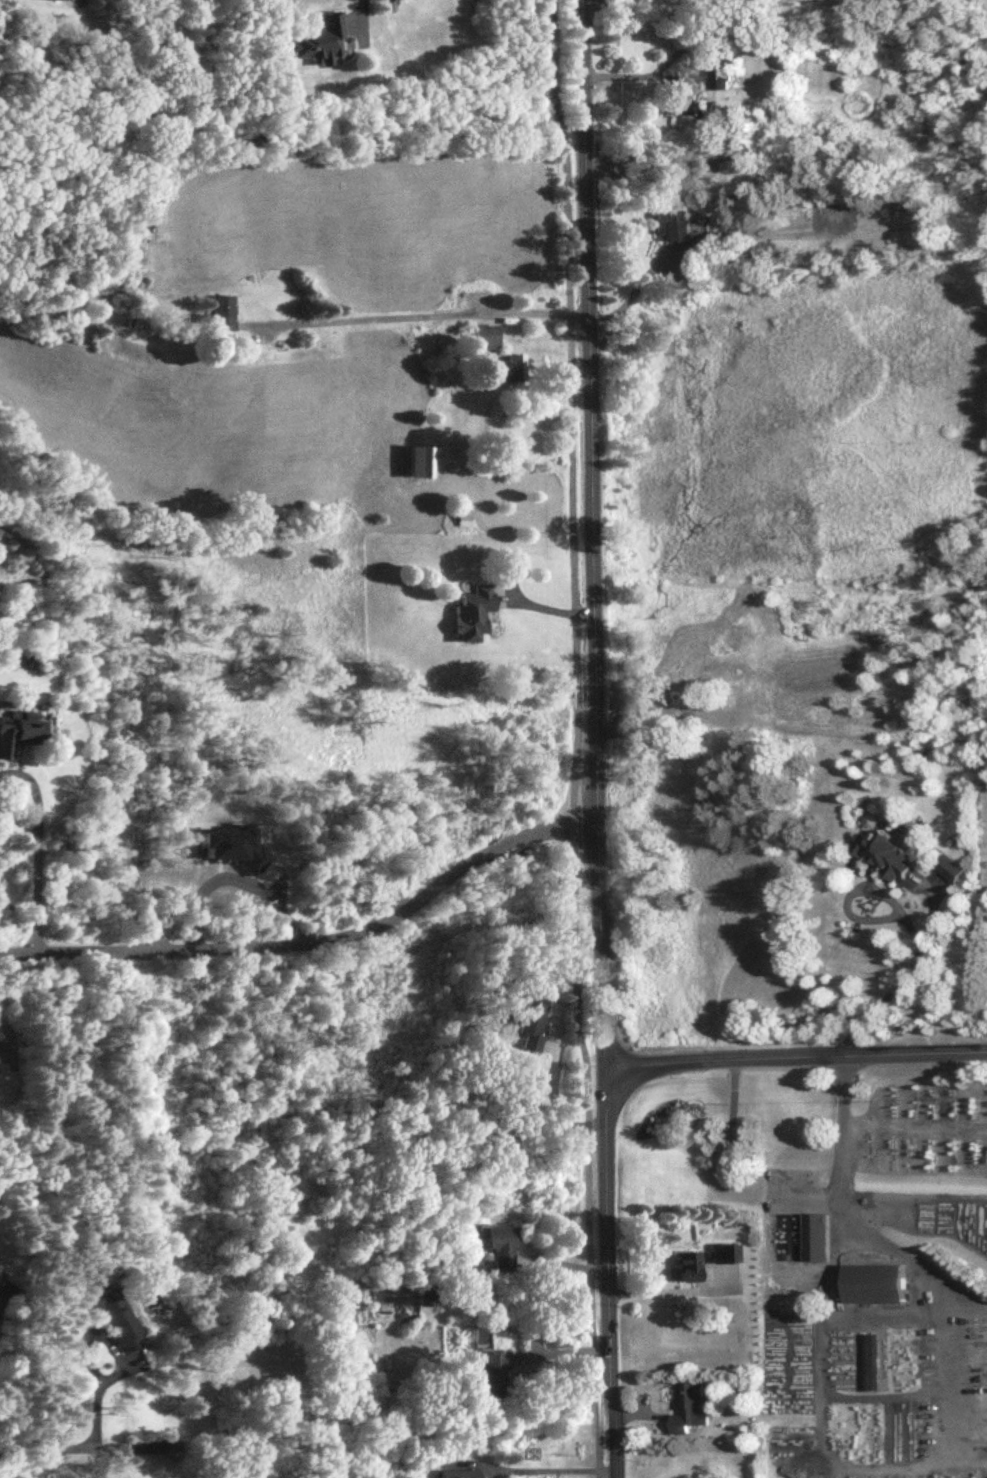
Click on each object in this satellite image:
building: (55, 0)
road: (359, 2)
building: (317, 39)
road: (685, 75)
building: (685, 101)
building: (835, 211)
building: (673, 226)
road: (628, 292)
road: (416, 313)
building: (222, 314)
road: (570, 334)
building: (486, 336)
building: (507, 368)
building: (421, 463)
building: (464, 515)
building: (473, 612)
road: (575, 689)
building: (753, 705)
building: (17, 731)
road: (597, 738)
road: (35, 791)
road: (19, 825)
building: (884, 853)
road: (264, 893)
road: (37, 895)
road: (907, 924)
road: (314, 942)
building: (531, 1024)
road: (796, 1058)
road: (587, 1092)
road: (852, 1216)
building: (500, 1245)
building: (725, 1253)
building: (689, 1267)
building: (1, 1269)
building: (873, 1282)
building: (429, 1297)
building: (115, 1316)
building: (497, 1375)
road: (819, 1390)
road: (950, 1396)
building: (689, 1403)
road: (95, 1424)
road: (27, 1447)
road: (97, 1460)
road: (5, 1463)
road: (548, 1469)

